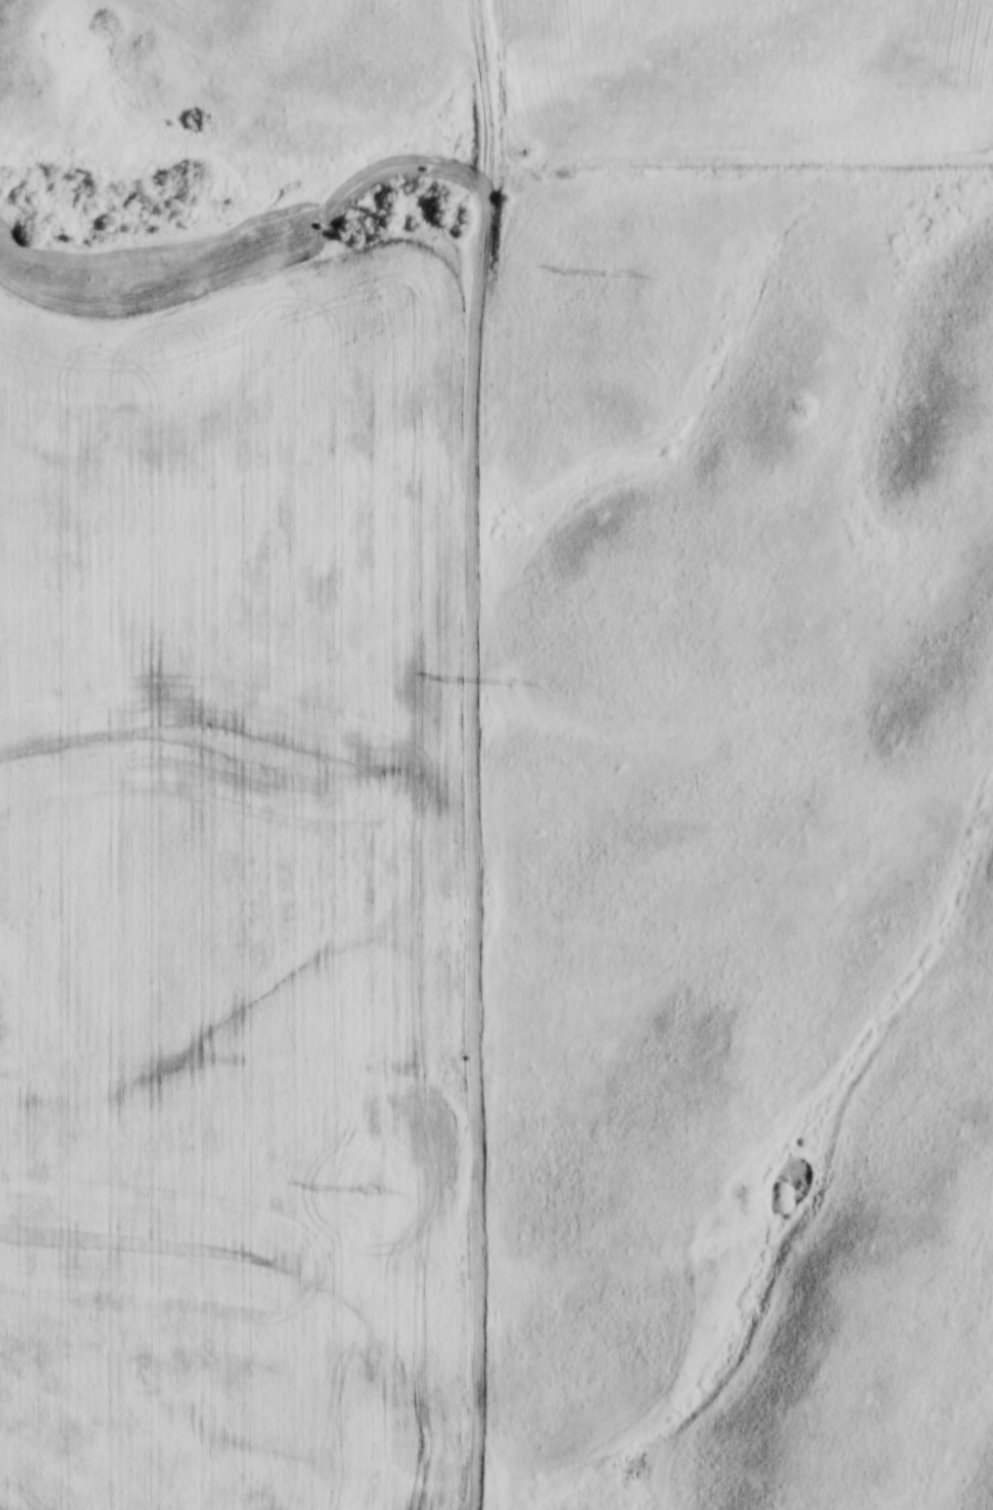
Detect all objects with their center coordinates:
power tower: (616, 277)
power tower: (506, 677)
road: (468, 754)
power tower: (370, 1187)

